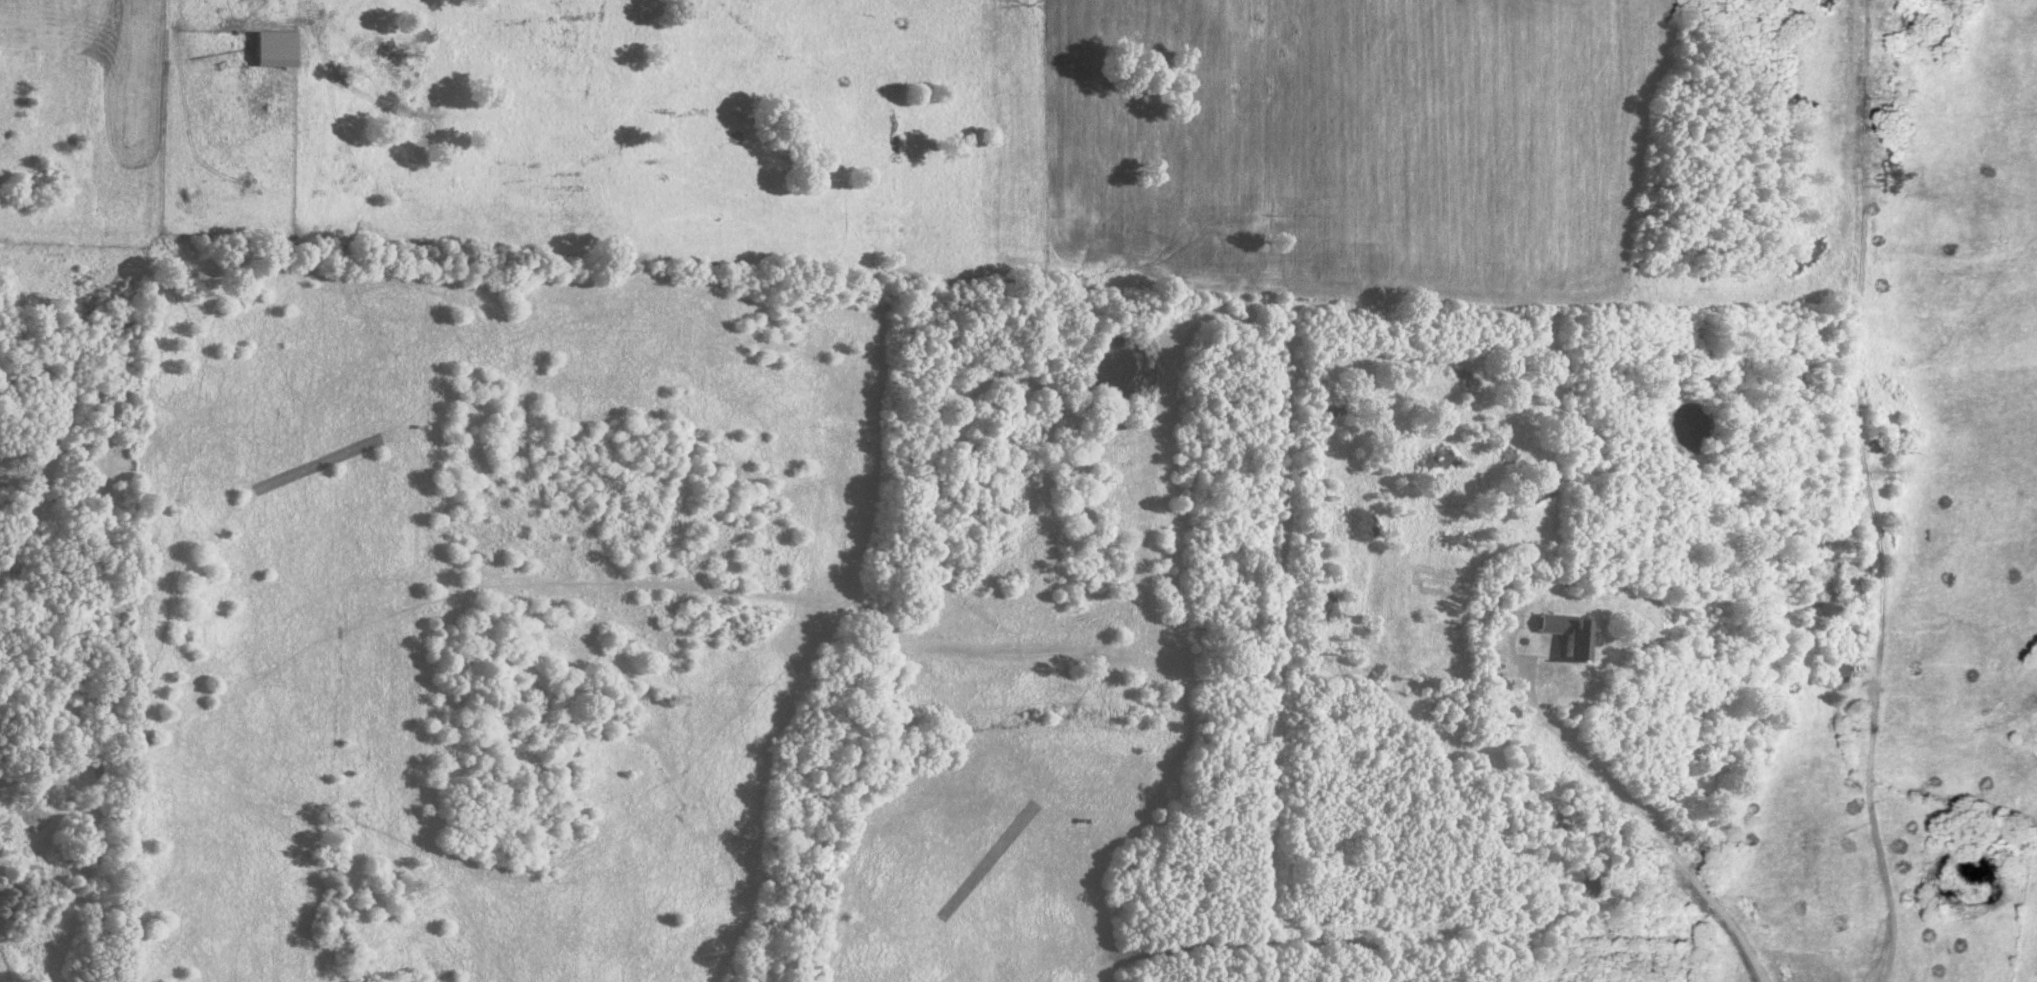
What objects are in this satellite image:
building: (1841, 674)
road: (1872, 813)

